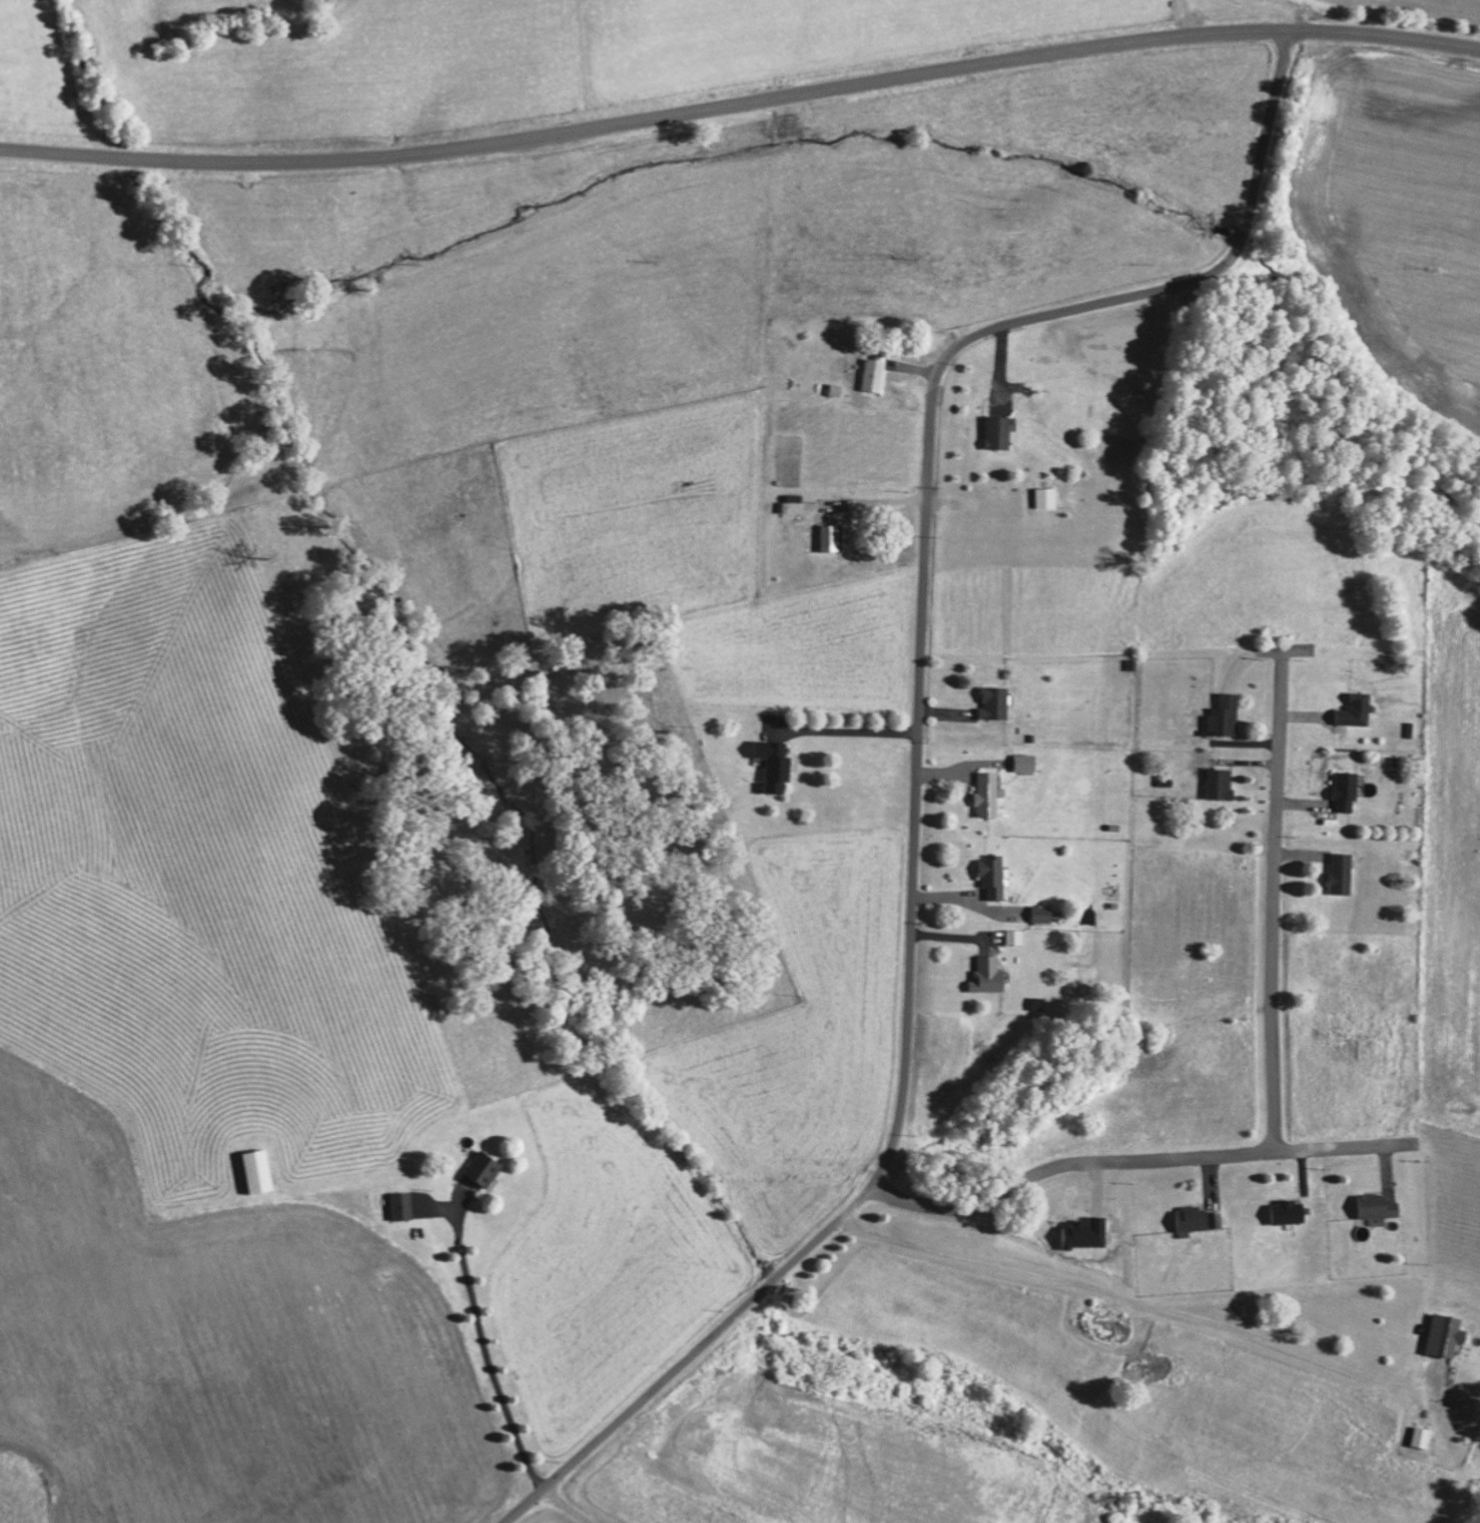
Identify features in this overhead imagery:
road: (1293, 15)
road: (740, 104)
building: (874, 375)
building: (999, 432)
building: (1047, 497)
building: (830, 538)
building: (995, 703)
building: (1355, 711)
building: (1224, 717)
road: (917, 752)
building: (1025, 763)
building: (775, 765)
building: (1220, 785)
building: (1346, 791)
building: (988, 794)
building: (1342, 874)
building: (994, 876)
building: (1043, 914)
building: (1015, 937)
building: (988, 976)
building: (484, 1168)
building: (259, 1170)
building: (402, 1205)
building: (1377, 1206)
building: (1288, 1211)
building: (1200, 1219)
building: (1444, 1334)
building: (1422, 1436)

